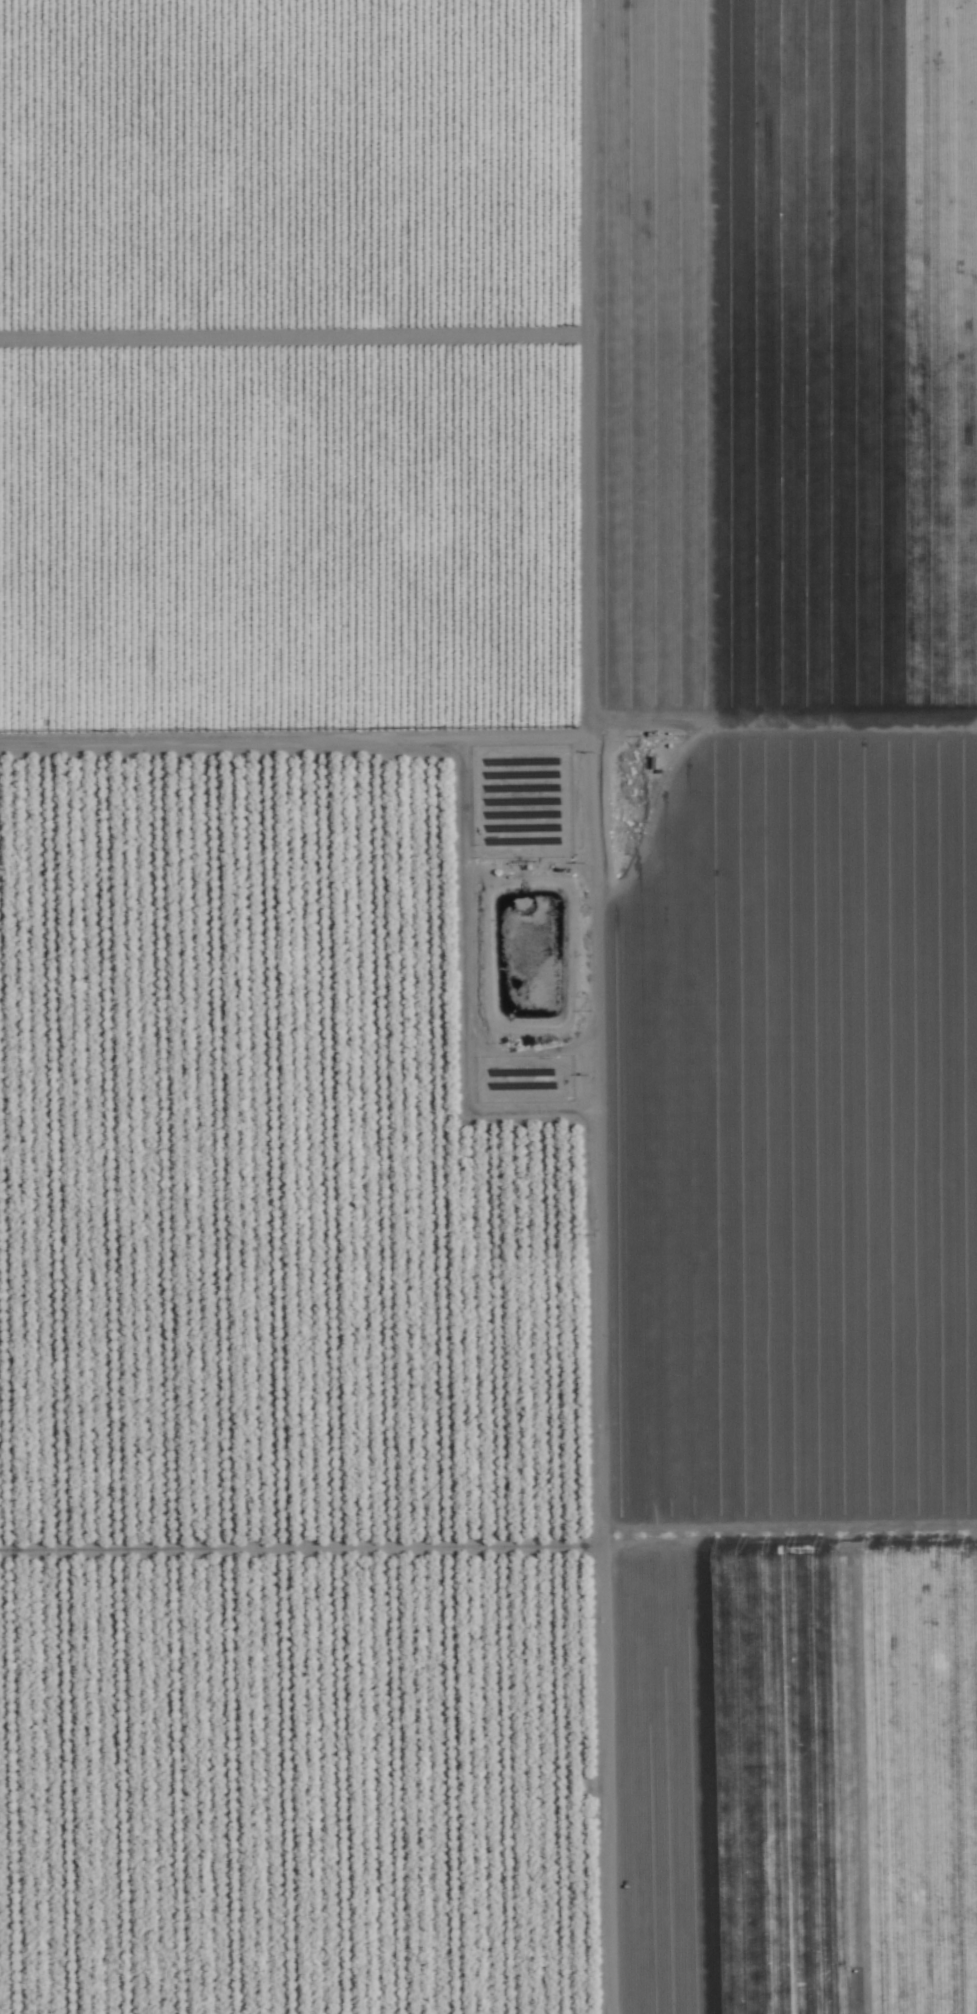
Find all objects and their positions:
road: (666, 296)
road: (788, 722)
wastewater plant: (522, 957)
road: (600, 1006)
crop: (488, 1007)

